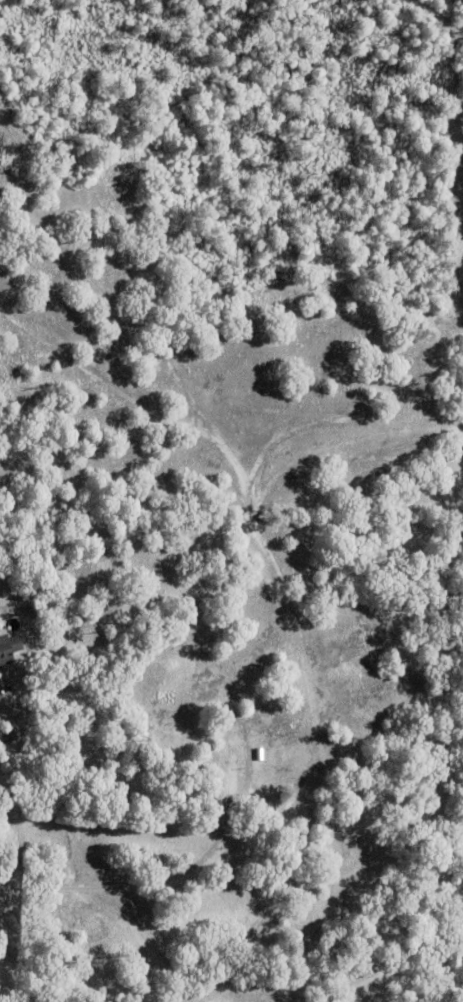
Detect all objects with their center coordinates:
building: (8, 649)
road: (21, 741)
road: (4, 794)
road: (12, 844)
road: (126, 886)

